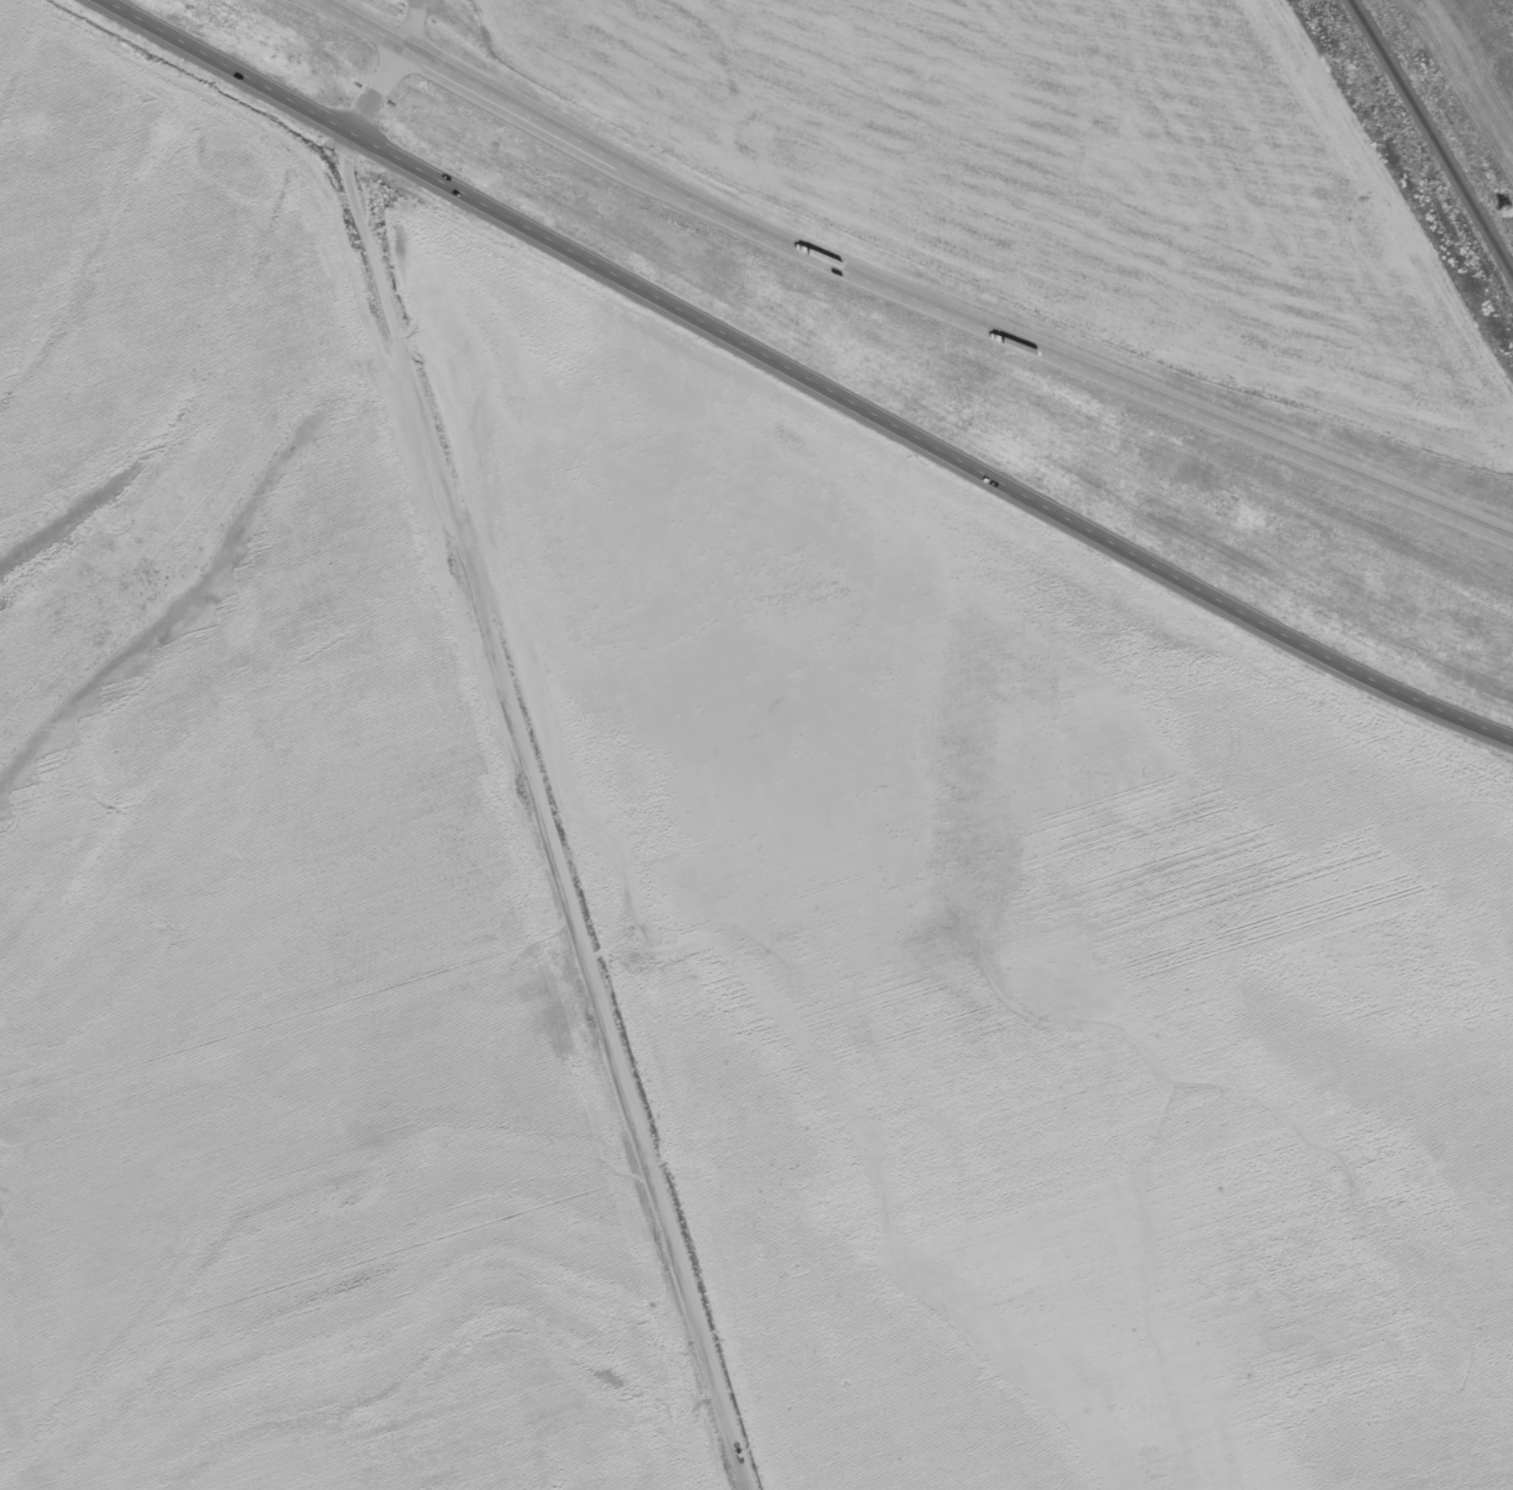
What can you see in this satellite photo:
road: (412, 26)
railway: (1432, 135)
road: (900, 290)
road: (801, 378)
road: (526, 765)

